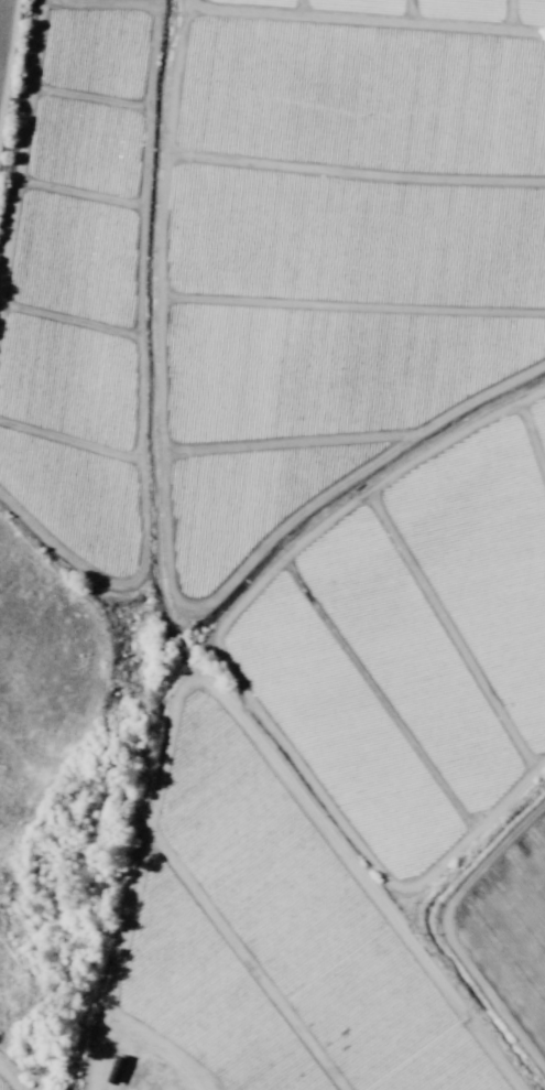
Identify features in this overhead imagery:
crop: (272, 544)

